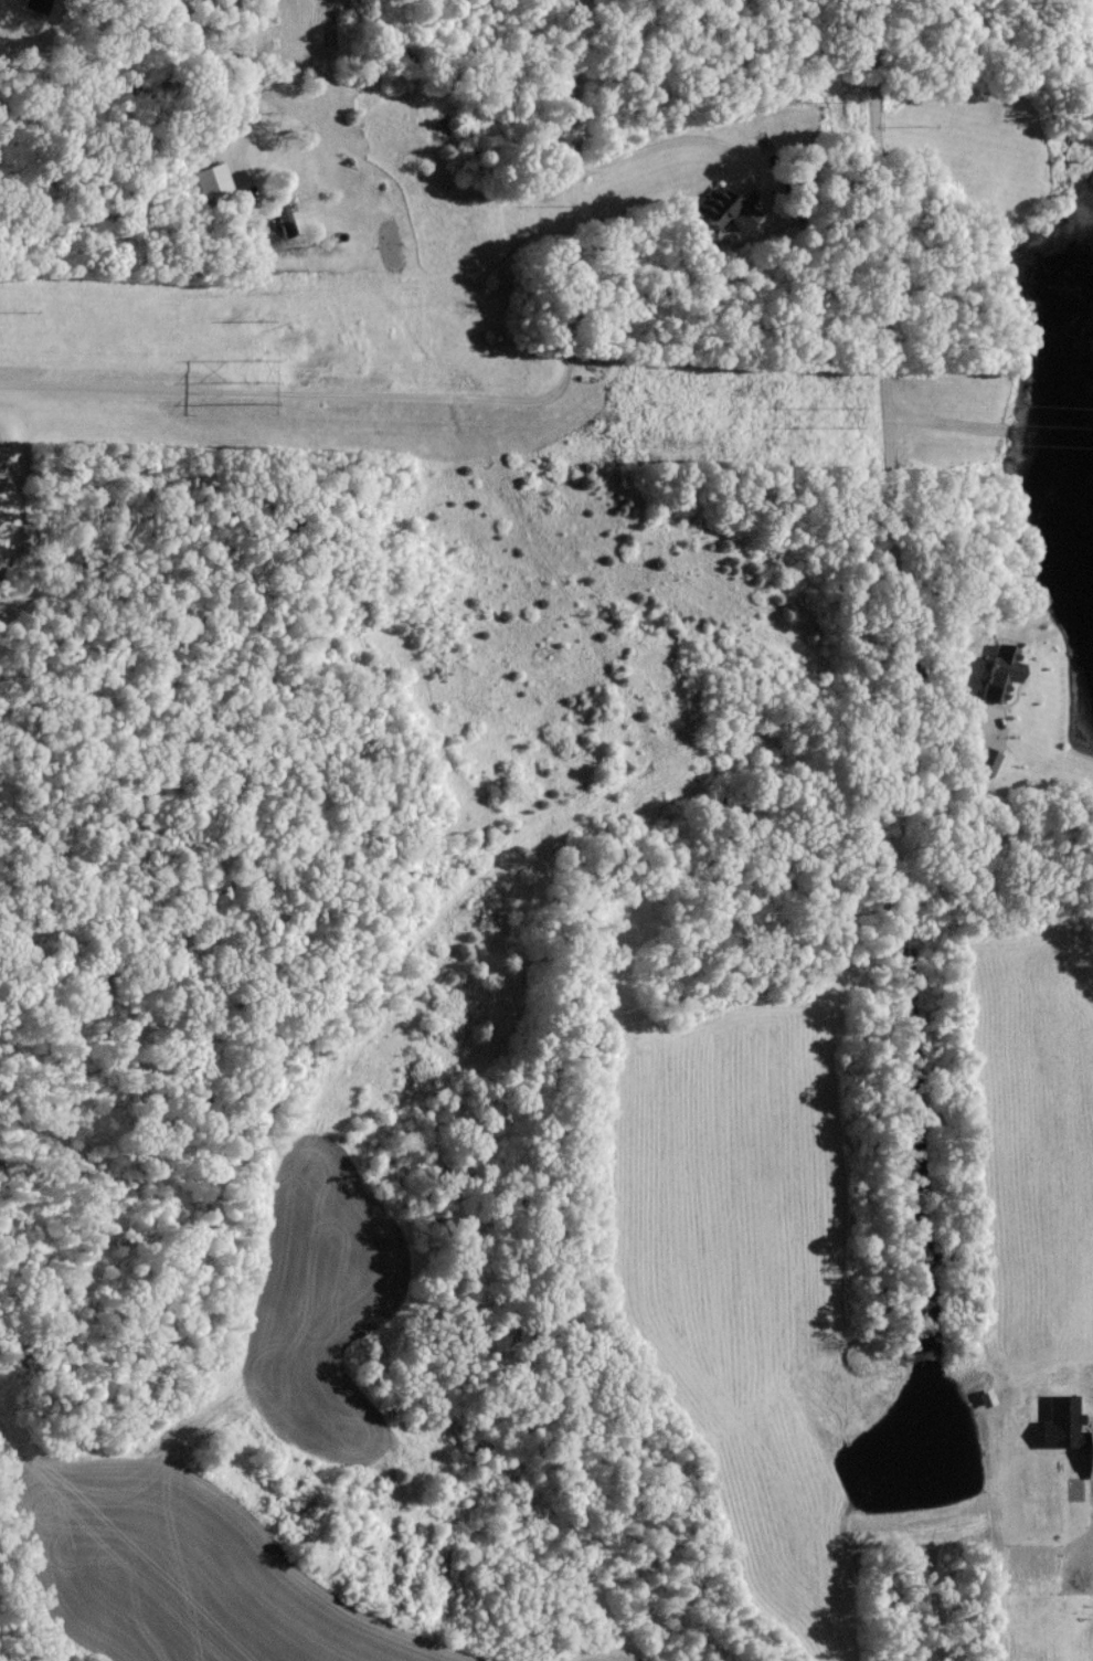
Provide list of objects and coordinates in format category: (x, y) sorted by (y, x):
road: (242, 88)
road: (687, 138)
building: (216, 180)
building: (730, 208)
power tower: (256, 380)
road: (888, 387)
road: (475, 398)
power tower: (839, 414)
building: (993, 673)
building: (985, 761)
building: (1055, 1422)
building: (1086, 1453)

